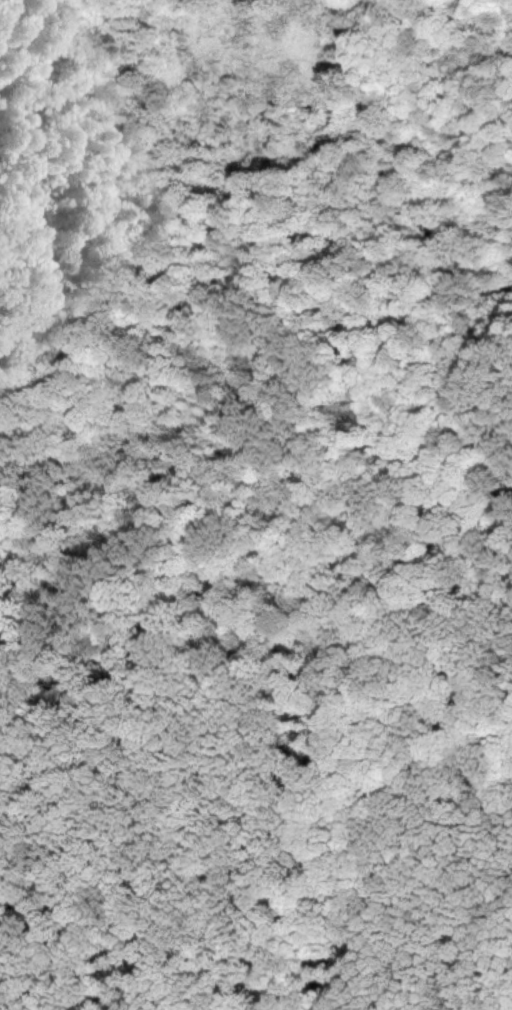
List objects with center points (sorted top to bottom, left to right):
road: (509, 946)

